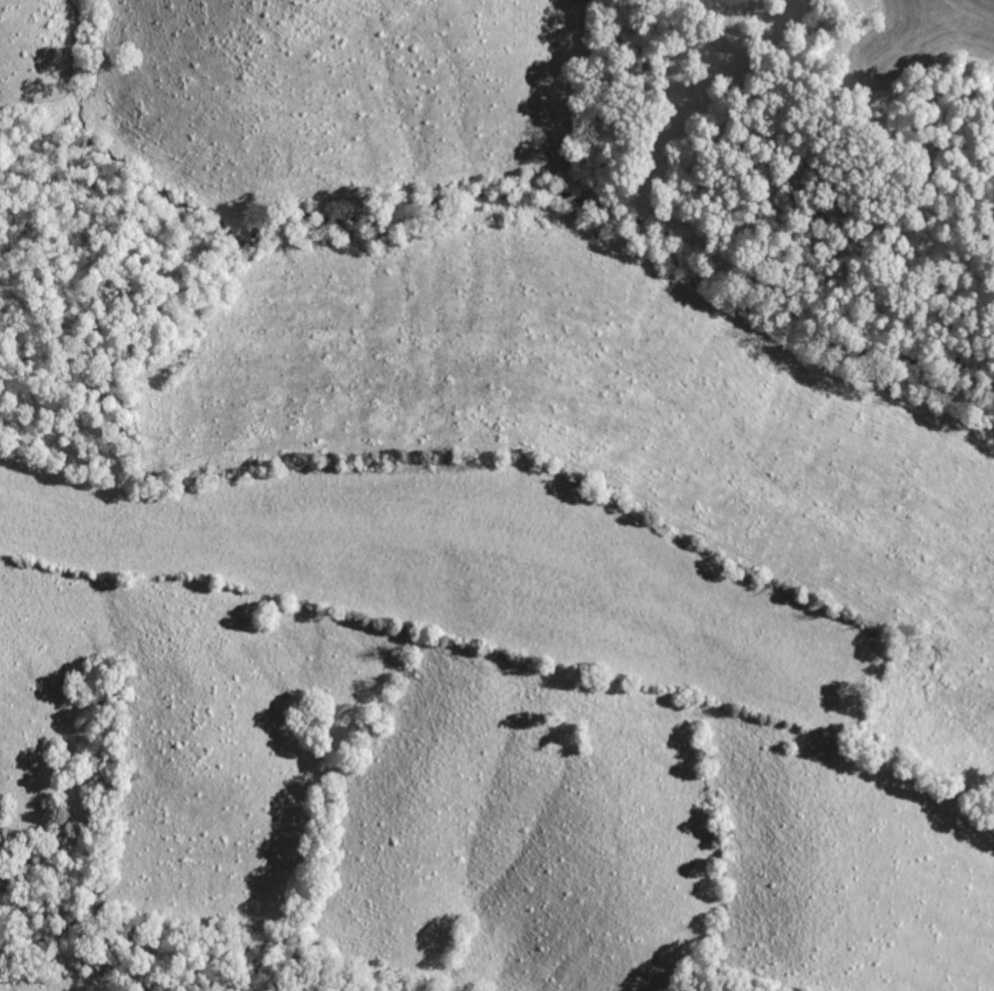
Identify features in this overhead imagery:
road: (7, 516)

